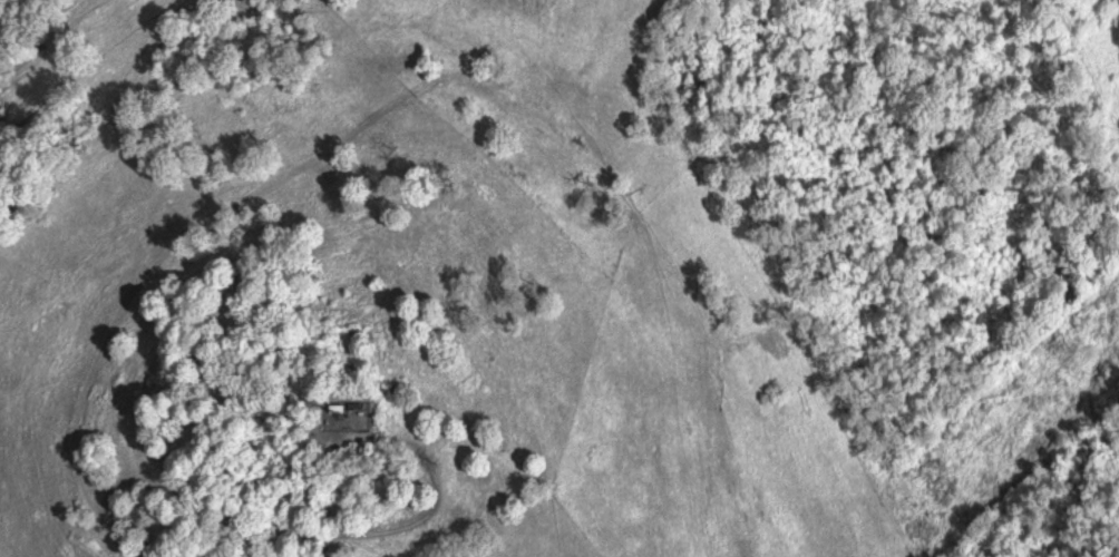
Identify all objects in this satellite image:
road: (183, 243)
road: (303, 535)

